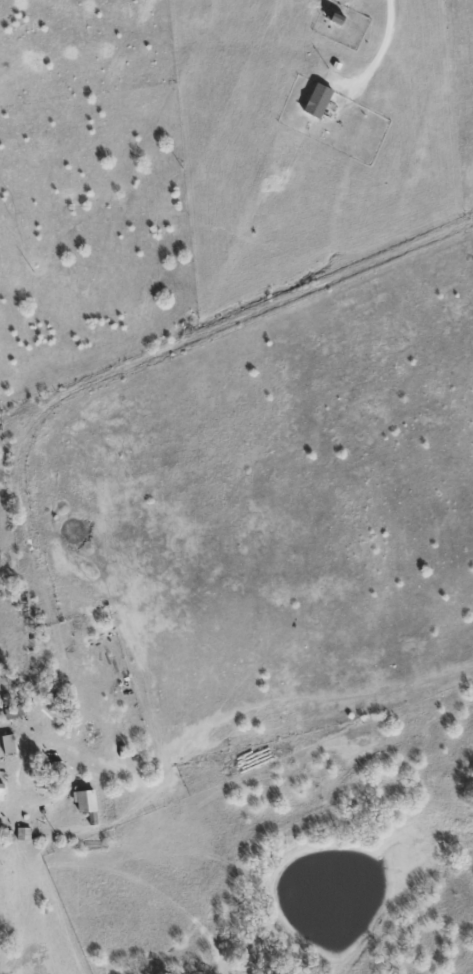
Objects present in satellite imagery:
road: (384, 46)
building: (313, 101)
road: (80, 440)
building: (10, 744)
building: (86, 801)

